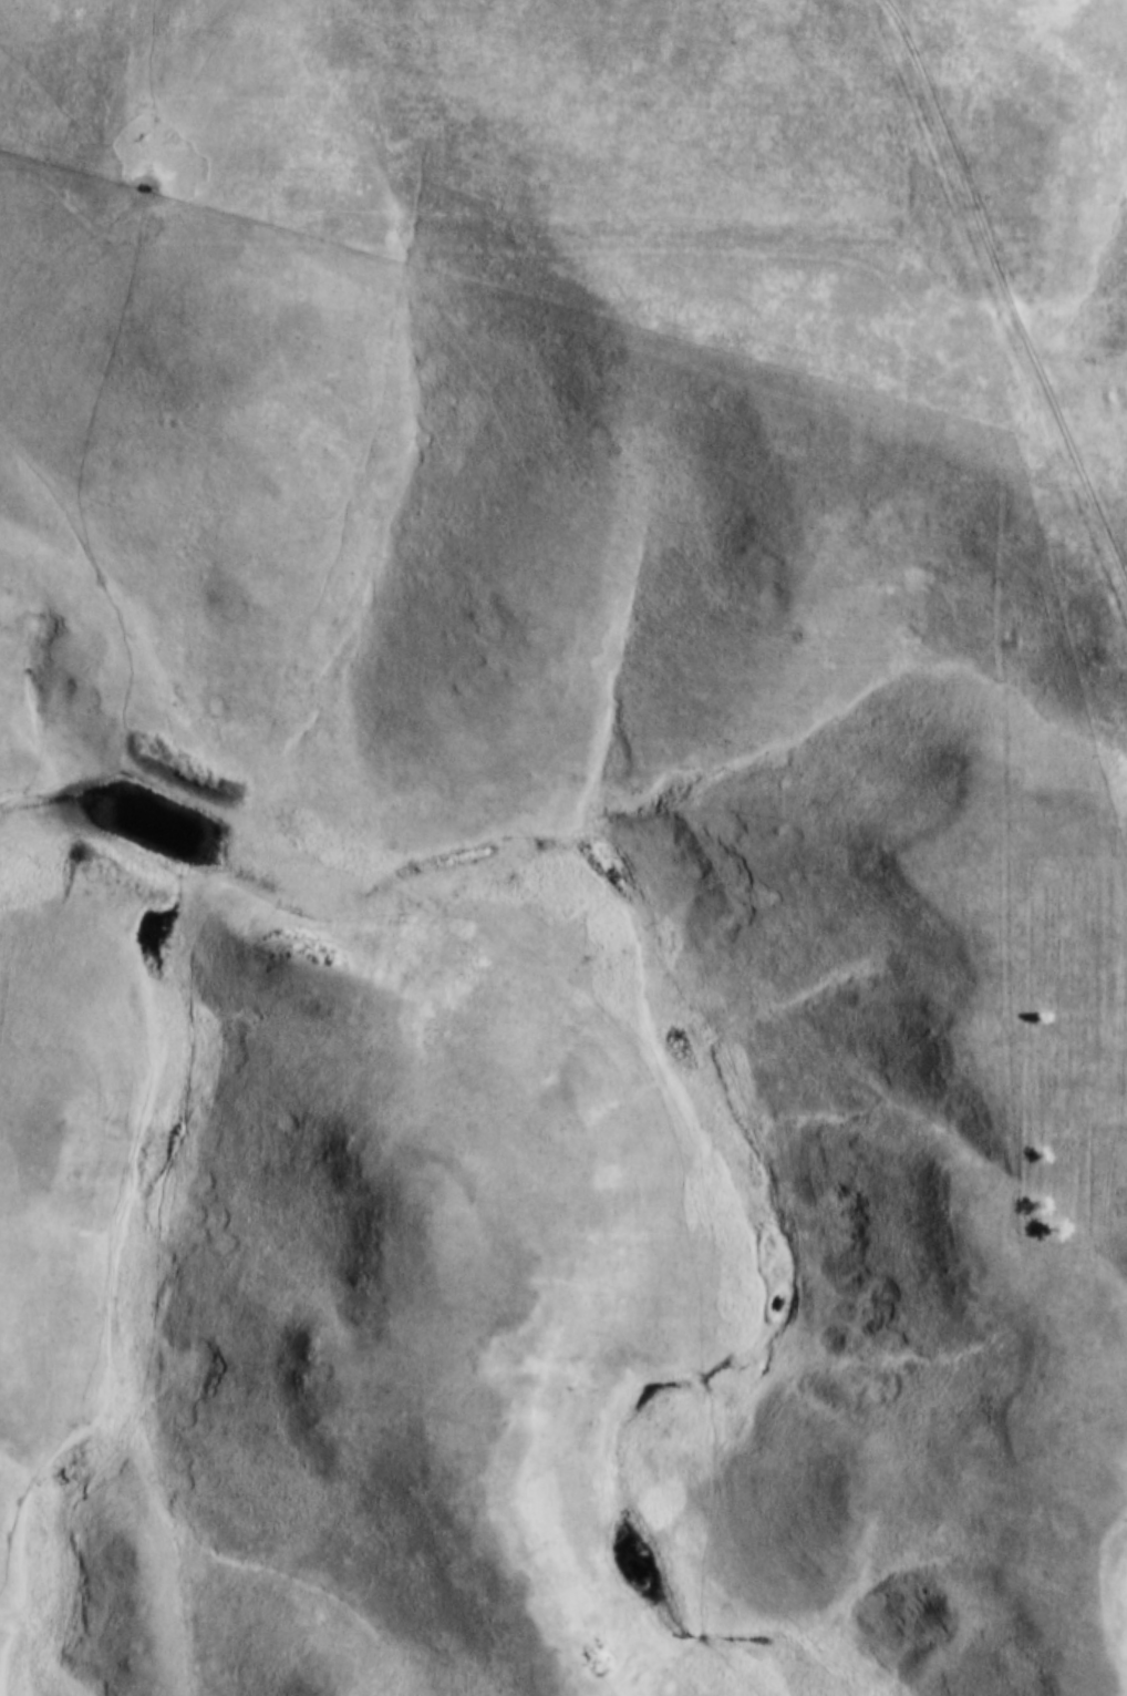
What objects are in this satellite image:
road: (1003, 298)

